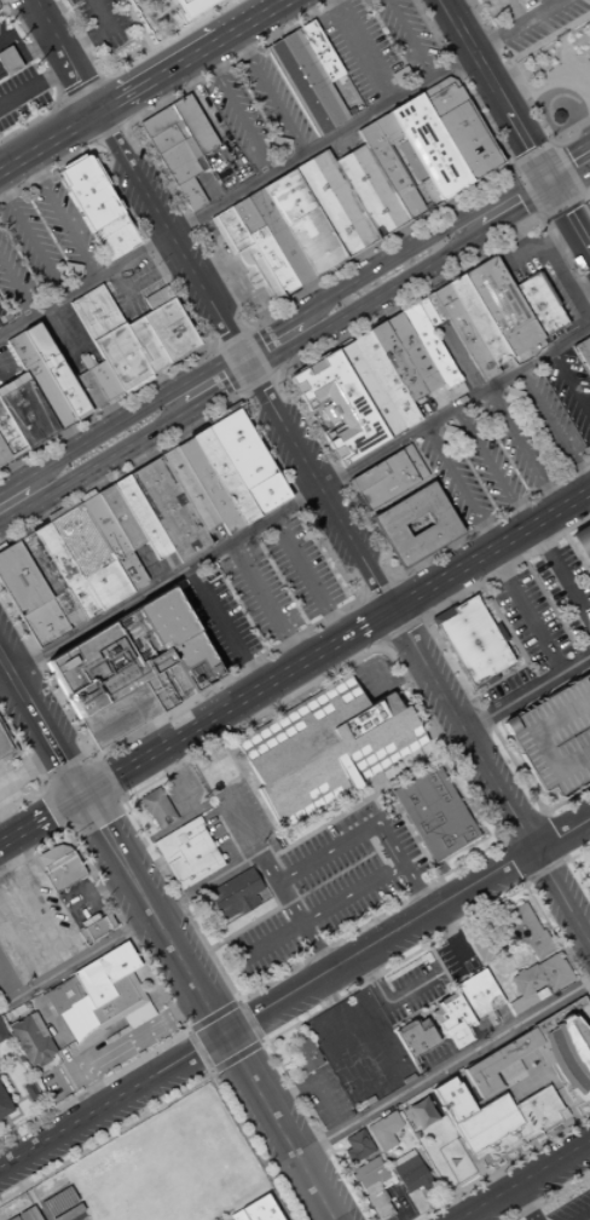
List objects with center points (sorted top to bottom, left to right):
road: (553, 1)
building: (192, 7)
road: (511, 11)
road: (256, 21)
road: (514, 24)
road: (139, 25)
road: (96, 29)
road: (12, 40)
road: (410, 40)
parking lot: (376, 44)
road: (39, 45)
building: (319, 51)
road: (360, 52)
road: (18, 53)
road: (7, 57)
road: (21, 57)
building: (8, 62)
parking lot: (556, 63)
road: (183, 64)
road: (11, 65)
road: (132, 65)
road: (1, 70)
road: (50, 79)
parking lot: (17, 80)
road: (35, 82)
building: (305, 82)
road: (492, 84)
road: (83, 91)
road: (521, 91)
road: (270, 96)
road: (59, 99)
road: (122, 100)
road: (114, 102)
building: (453, 110)
parking lot: (256, 111)
road: (139, 115)
road: (237, 115)
road: (76, 121)
building: (157, 121)
road: (127, 123)
building: (193, 123)
road: (215, 127)
road: (108, 132)
building: (167, 137)
road: (50, 144)
road: (89, 145)
traffic signals: (530, 145)
building: (432, 146)
building: (174, 149)
building: (478, 151)
road: (531, 152)
road: (566, 154)
traffic signals: (567, 154)
building: (180, 160)
road: (442, 165)
building: (398, 166)
road: (566, 167)
road: (135, 173)
building: (185, 173)
road: (409, 173)
road: (548, 180)
road: (571, 182)
road: (478, 185)
building: (186, 189)
road: (210, 190)
building: (370, 191)
road: (526, 191)
building: (89, 195)
road: (114, 195)
road: (238, 196)
road: (584, 196)
building: (195, 201)
building: (336, 202)
road: (562, 205)
road: (526, 207)
traffic signals: (524, 209)
road: (562, 209)
traffic signals: (565, 214)
road: (60, 219)
building: (227, 219)
building: (305, 221)
road: (305, 221)
road: (490, 228)
building: (280, 236)
road: (557, 236)
building: (115, 237)
building: (238, 237)
road: (579, 238)
road: (417, 241)
road: (31, 243)
building: (265, 246)
parking lot: (41, 247)
road: (514, 252)
road: (588, 252)
parking lot: (231, 261)
building: (259, 269)
road: (462, 269)
road: (555, 269)
road: (17, 287)
road: (579, 287)
building: (157, 298)
road: (365, 303)
building: (504, 304)
building: (542, 304)
building: (436, 306)
road: (578, 309)
building: (428, 310)
road: (232, 313)
building: (481, 320)
building: (180, 326)
road: (63, 328)
road: (244, 330)
road: (264, 332)
building: (465, 332)
building: (168, 333)
building: (109, 334)
building: (160, 336)
road: (231, 340)
building: (430, 341)
building: (147, 344)
road: (216, 347)
building: (582, 347)
building: (413, 351)
road: (255, 352)
road: (242, 359)
road: (461, 359)
building: (398, 361)
building: (335, 363)
building: (586, 363)
road: (190, 367)
road: (230, 368)
building: (57, 370)
building: (589, 370)
building: (319, 373)
building: (116, 374)
road: (270, 374)
building: (387, 378)
building: (40, 380)
building: (104, 381)
road: (254, 381)
building: (303, 381)
road: (568, 382)
building: (371, 385)
building: (89, 390)
road: (216, 390)
road: (242, 391)
road: (289, 402)
road: (255, 413)
building: (28, 414)
road: (127, 414)
road: (92, 415)
building: (347, 418)
road: (553, 428)
building: (10, 436)
parking lot: (510, 439)
road: (522, 448)
building: (4, 454)
building: (249, 461)
building: (413, 462)
road: (92, 464)
road: (490, 468)
road: (339, 473)
building: (226, 476)
building: (368, 477)
road: (106, 478)
building: (388, 482)
building: (210, 484)
road: (10, 487)
road: (459, 487)
building: (190, 488)
road: (295, 499)
road: (299, 500)
building: (170, 508)
building: (143, 517)
building: (122, 518)
road: (497, 519)
building: (417, 525)
building: (106, 526)
building: (582, 543)
road: (4, 545)
road: (491, 552)
building: (92, 554)
building: (68, 569)
road: (561, 576)
road: (307, 577)
building: (52, 579)
road: (401, 579)
parking lot: (261, 591)
road: (377, 591)
building: (29, 595)
road: (411, 597)
road: (266, 603)
road: (351, 604)
parking lot: (544, 605)
road: (524, 612)
road: (393, 614)
road: (366, 623)
road: (363, 628)
road: (399, 628)
road: (221, 629)
building: (472, 640)
road: (378, 644)
road: (442, 652)
road: (39, 662)
building: (135, 666)
road: (4, 677)
road: (225, 679)
road: (526, 691)
road: (207, 721)
road: (40, 730)
road: (10, 732)
building: (555, 737)
parking lot: (555, 737)
road: (71, 742)
building: (4, 744)
building: (324, 748)
road: (62, 765)
road: (27, 769)
building: (218, 773)
road: (111, 781)
road: (174, 783)
road: (40, 798)
traffic signals: (80, 799)
road: (18, 802)
building: (157, 807)
road: (470, 807)
building: (434, 813)
road: (53, 815)
road: (542, 815)
road: (47, 817)
road: (93, 817)
road: (371, 824)
road: (405, 825)
road: (521, 834)
road: (247, 836)
road: (551, 840)
road: (493, 841)
road: (7, 842)
road: (293, 842)
road: (498, 842)
building: (186, 853)
road: (566, 859)
road: (511, 863)
building: (59, 868)
road: (573, 868)
road: (543, 870)
building: (589, 875)
road: (203, 884)
road: (524, 885)
parking lot: (328, 890)
road: (97, 891)
road: (589, 891)
road: (348, 893)
building: (232, 894)
road: (562, 902)
road: (285, 903)
road: (36, 904)
road: (152, 920)
parking lot: (31, 923)
building: (96, 928)
road: (409, 931)
building: (526, 931)
road: (588, 938)
road: (268, 939)
road: (452, 943)
road: (19, 948)
road: (313, 950)
road: (74, 962)
building: (553, 972)
parking lot: (6, 977)
road: (10, 980)
road: (360, 984)
building: (112, 988)
building: (525, 988)
road: (157, 991)
building: (476, 994)
road: (237, 1000)
road: (393, 1000)
building: (70, 1007)
building: (449, 1015)
road: (212, 1017)
road: (248, 1022)
road: (58, 1029)
building: (583, 1030)
road: (185, 1031)
building: (2, 1034)
building: (413, 1037)
building: (30, 1038)
road: (264, 1041)
road: (355, 1041)
road: (122, 1046)
parking lot: (358, 1049)
road: (197, 1051)
building: (303, 1054)
road: (235, 1055)
building: (568, 1055)
building: (491, 1067)
road: (442, 1069)
building: (508, 1071)
road: (209, 1072)
road: (313, 1081)
road: (8, 1083)
building: (29, 1090)
road: (178, 1092)
building: (451, 1100)
road: (563, 1100)
building: (5, 1105)
road: (114, 1106)
road: (16, 1107)
building: (561, 1113)
building: (525, 1123)
building: (486, 1124)
road: (279, 1129)
building: (383, 1130)
road: (16, 1136)
building: (354, 1146)
road: (501, 1167)
park: (146, 1168)
building: (409, 1172)
building: (237, 1182)
road: (528, 1184)
building: (370, 1186)
building: (248, 1199)
building: (60, 1205)
road: (522, 1207)
parking lot: (571, 1208)
building: (260, 1212)
building: (27, 1214)
road: (580, 1214)
building: (13, 1218)
building: (276, 1218)

